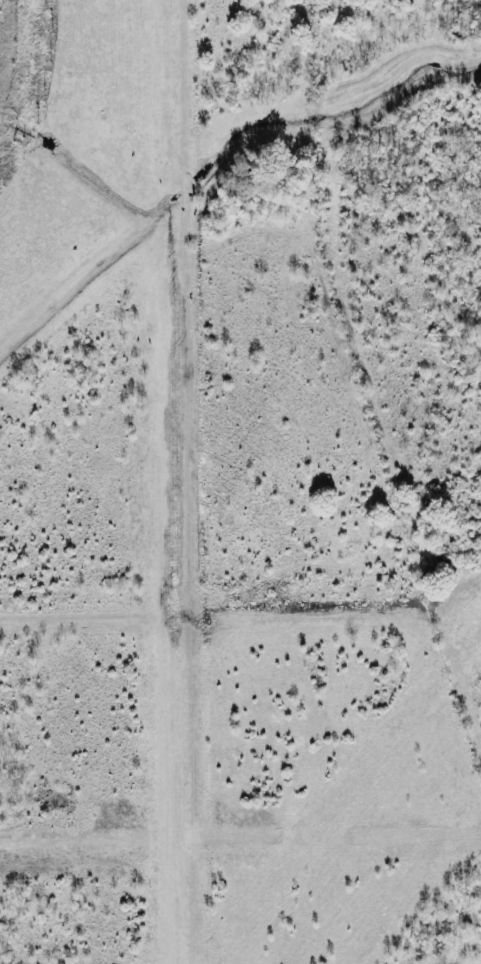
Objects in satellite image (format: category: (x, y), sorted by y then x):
road: (198, 574)
road: (340, 580)

